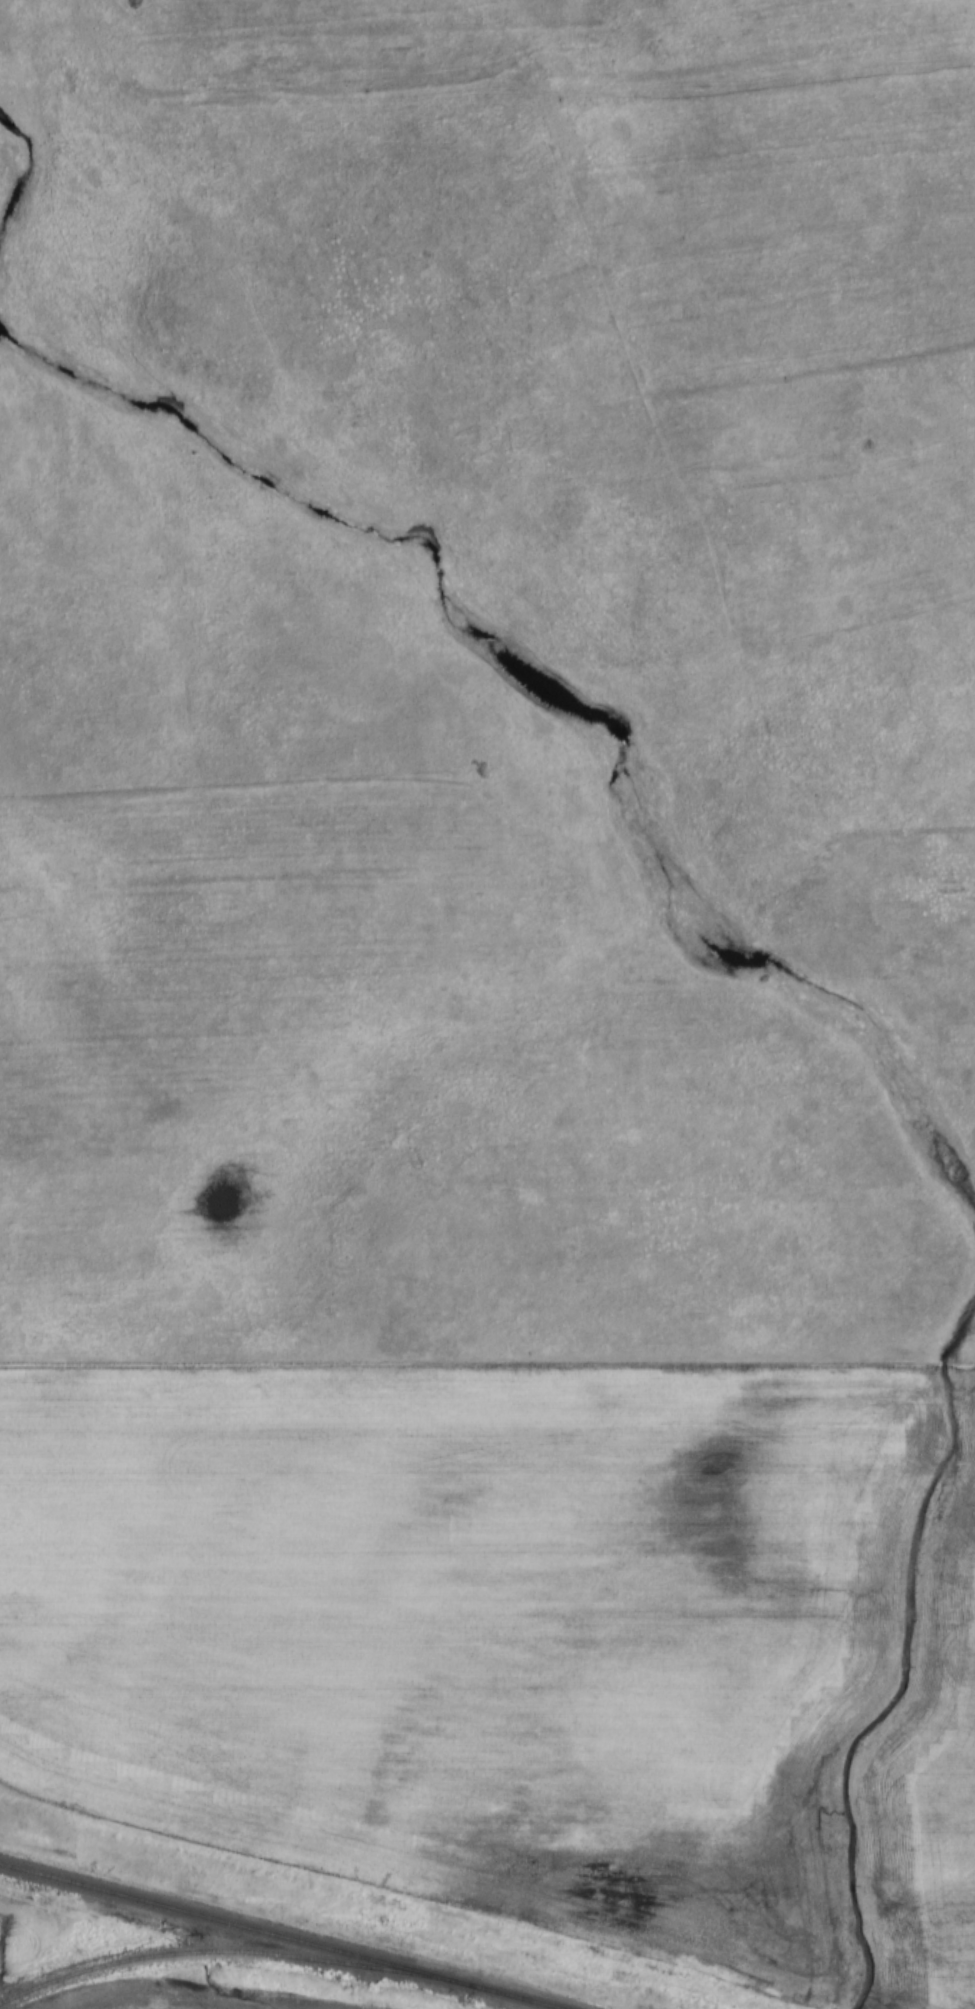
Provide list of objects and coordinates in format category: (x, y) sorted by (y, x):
railway: (280, 1936)
railway: (234, 1952)

